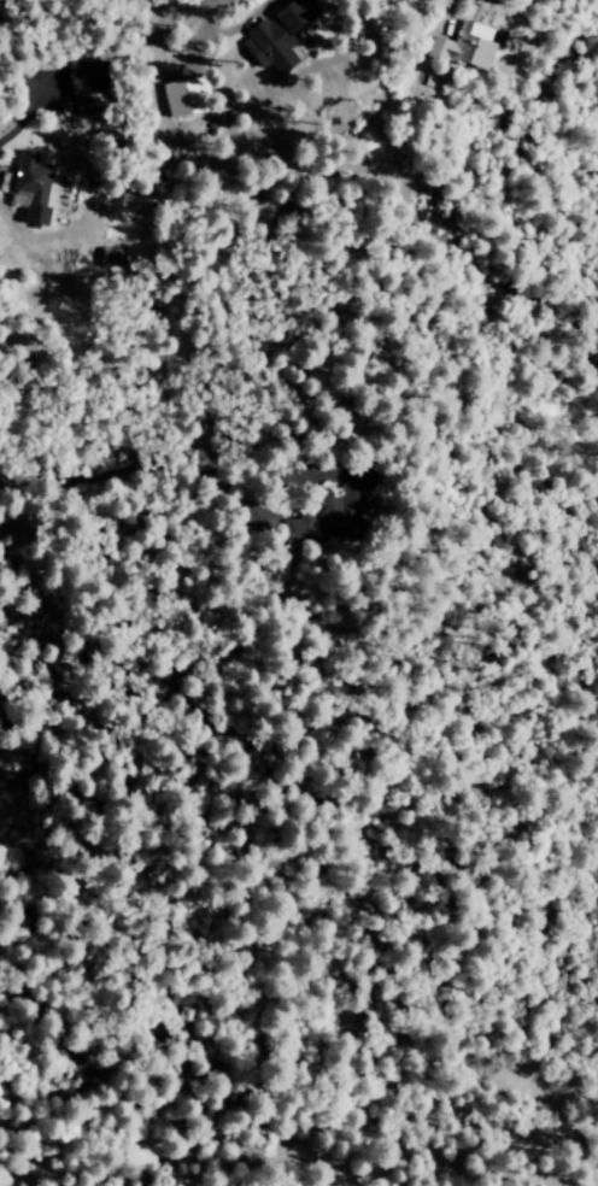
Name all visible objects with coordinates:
building: (274, 37)
building: (463, 46)
building: (182, 99)
building: (30, 190)
building: (319, 523)

